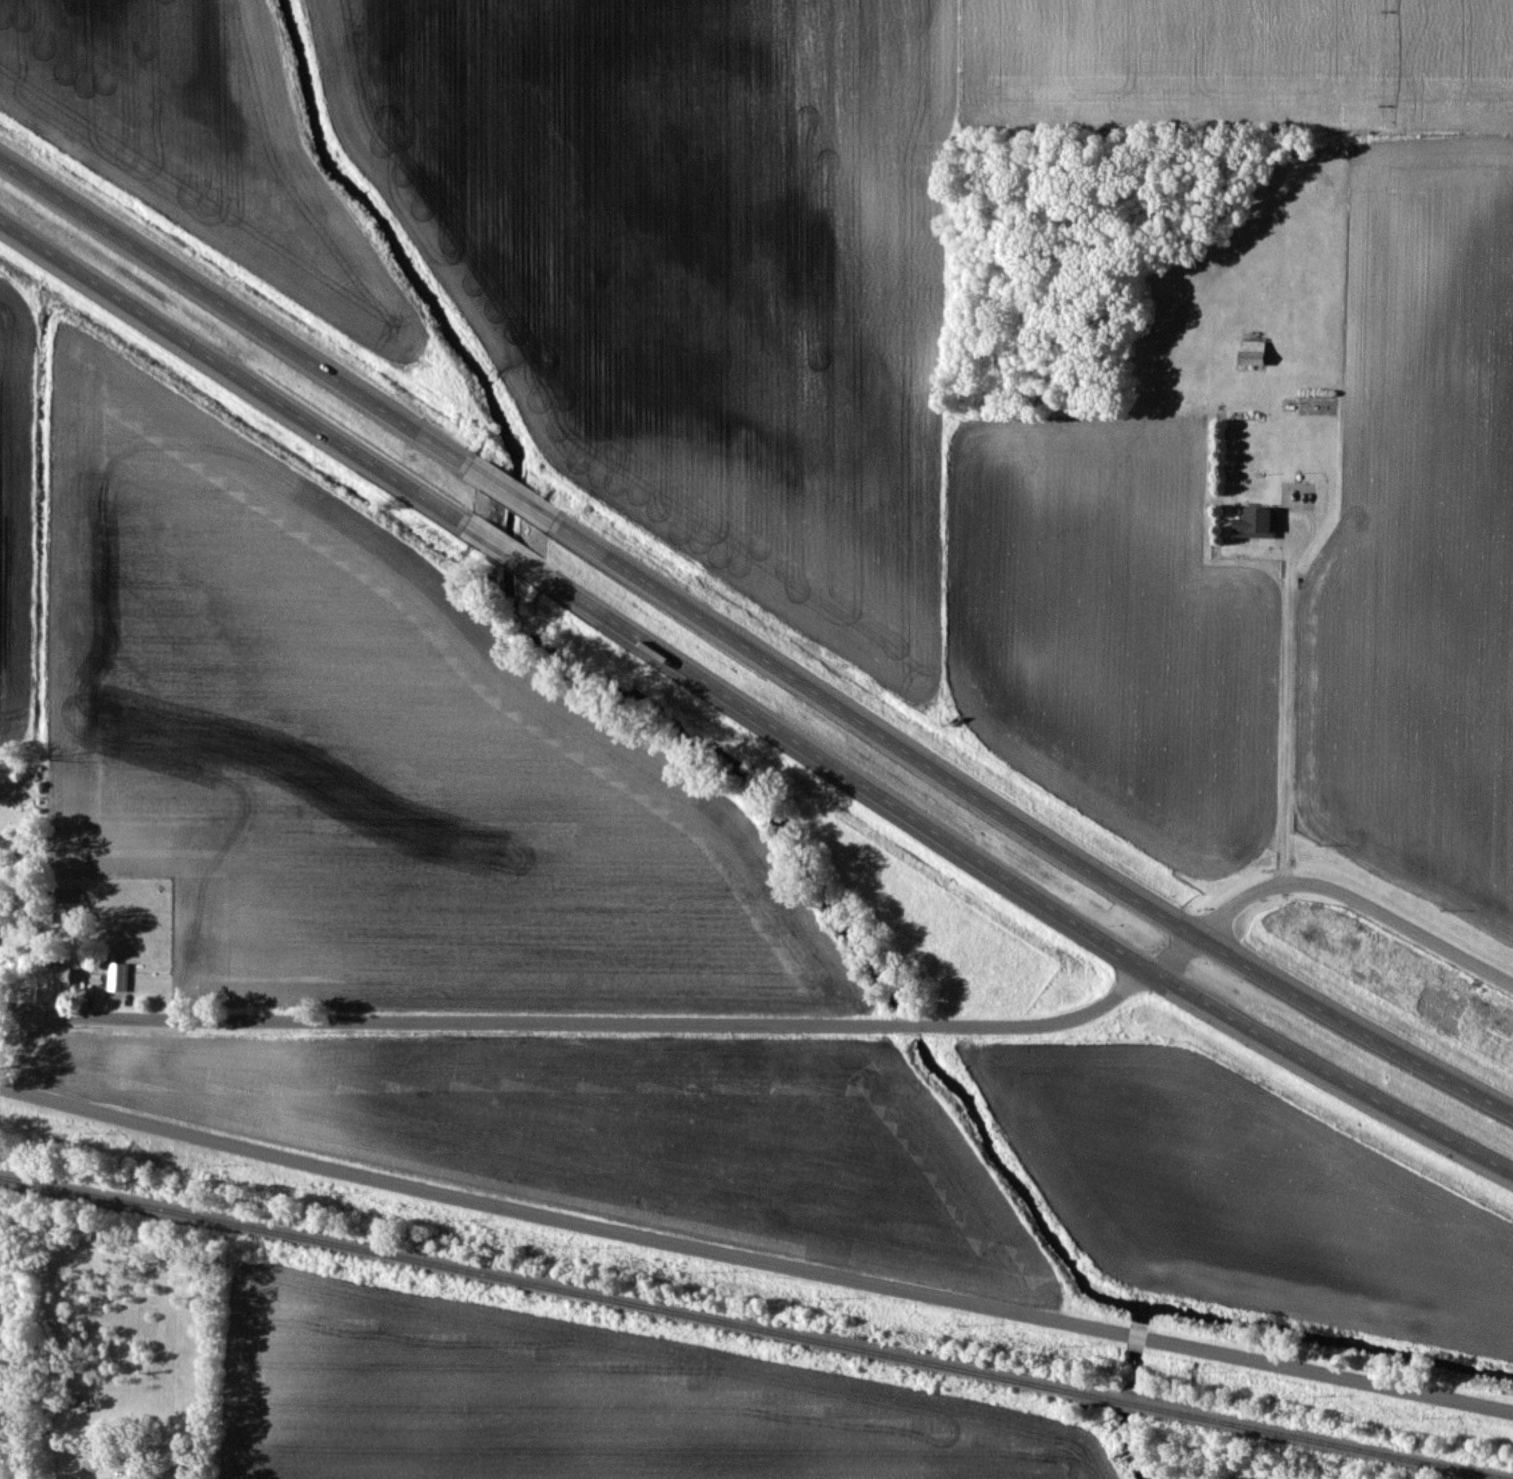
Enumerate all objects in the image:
building: (1252, 352)
building: (1256, 523)
road: (748, 649)
road: (1290, 702)
road: (747, 710)
building: (57, 979)
road: (789, 1022)
road: (23, 1051)
road: (756, 1247)
railway: (754, 1327)
building: (1136, 1334)
road: (17, 1431)

